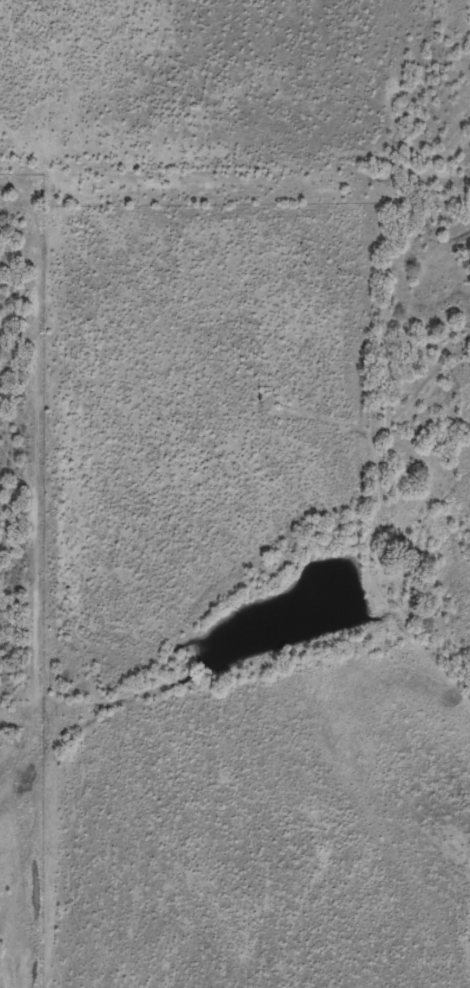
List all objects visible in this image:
road: (234, 193)

